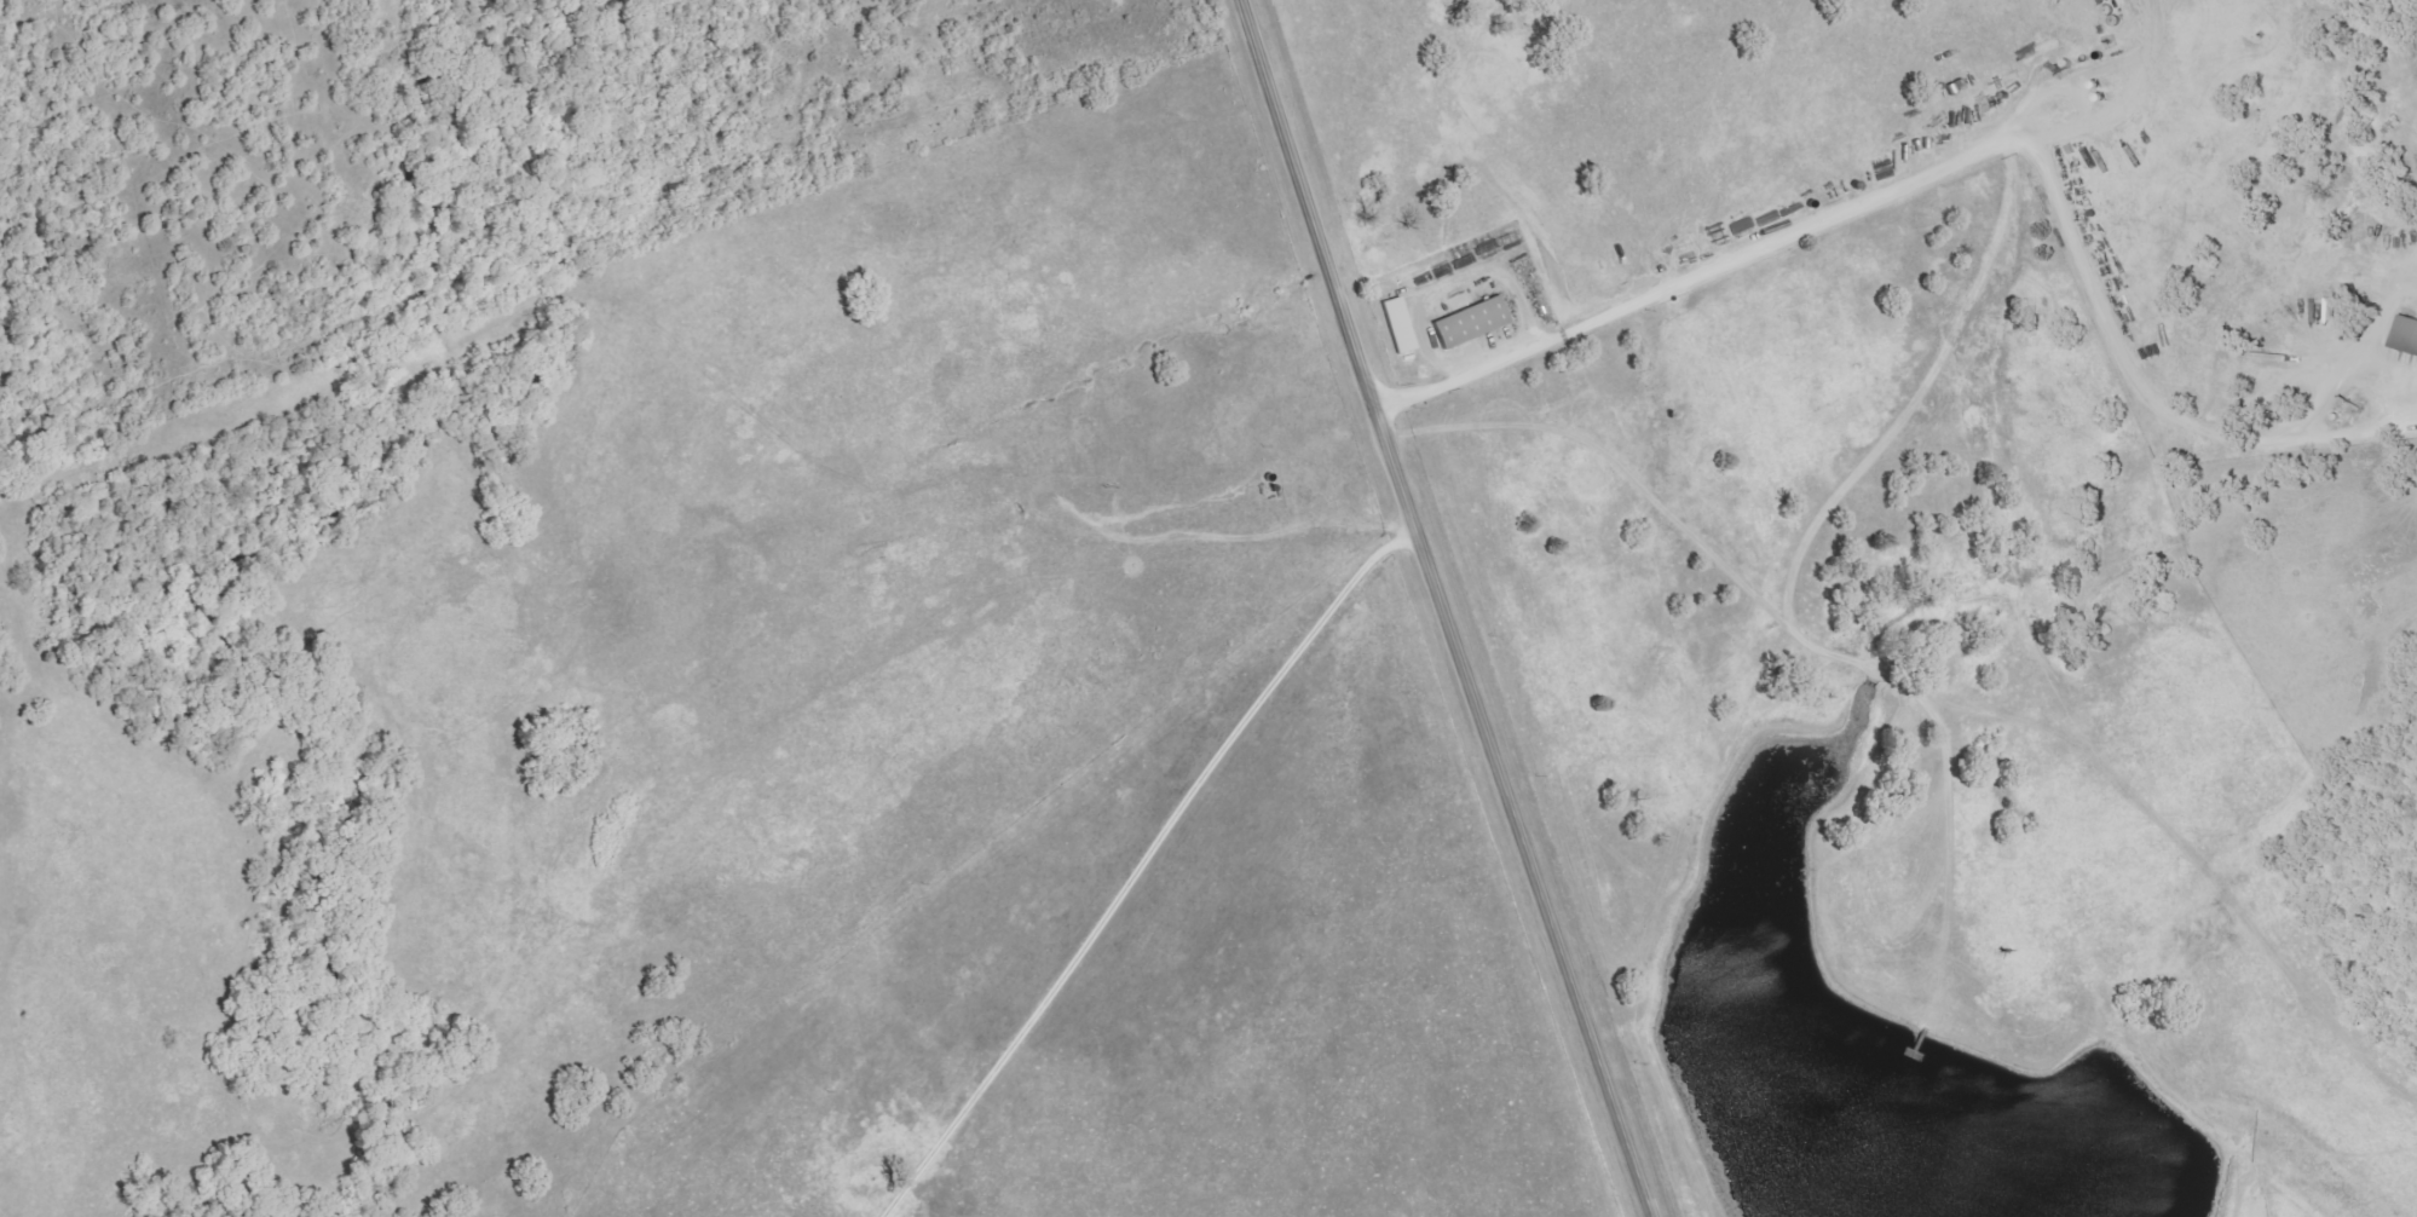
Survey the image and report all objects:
road: (2046, 179)
building: (1467, 321)
building: (1396, 324)
building: (2405, 333)
road: (1466, 376)
road: (1446, 608)

